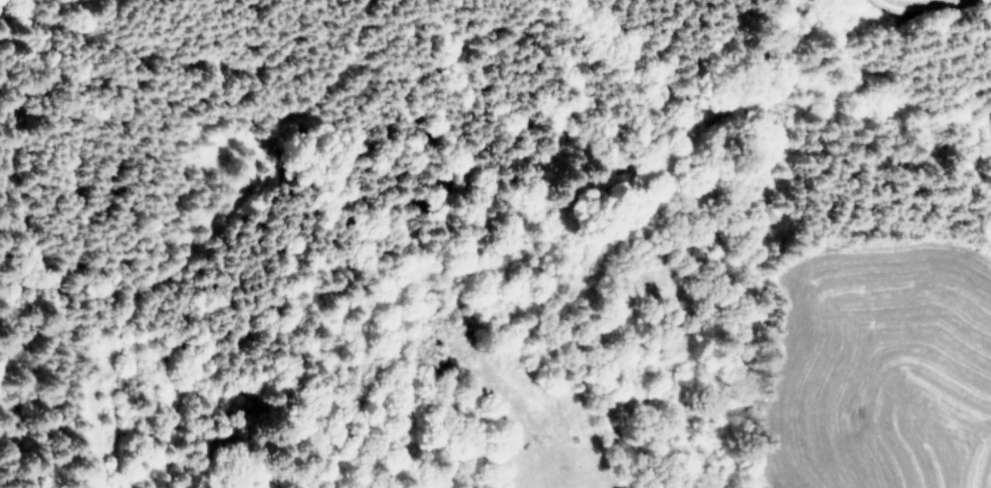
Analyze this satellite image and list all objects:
crop: (920, 15)
crop: (859, 404)

